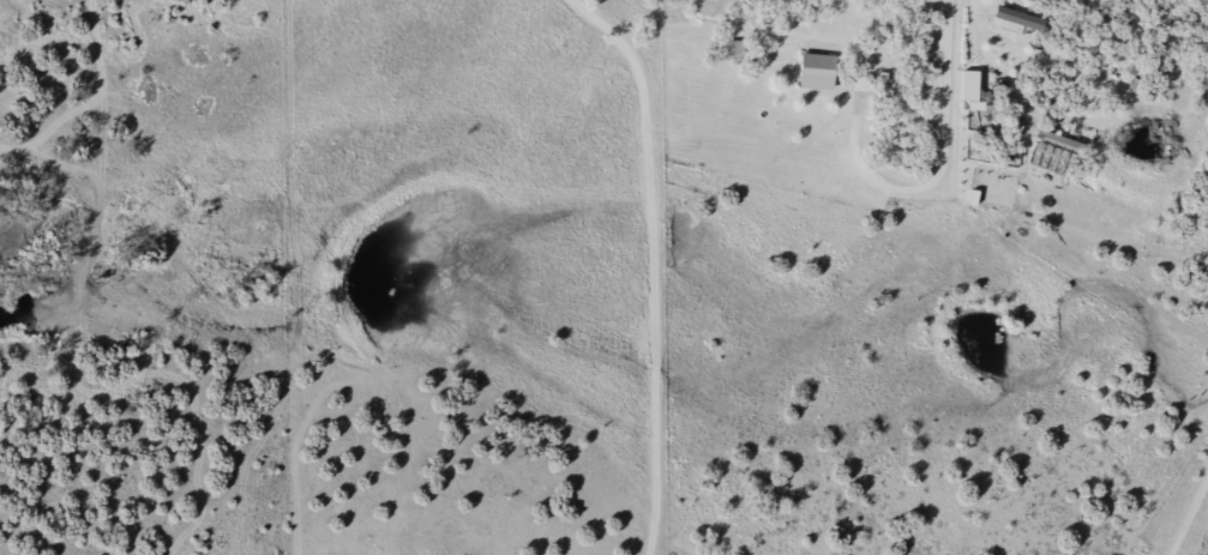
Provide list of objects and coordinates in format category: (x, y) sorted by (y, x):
building: (733, 48)
building: (816, 71)
road: (1182, 503)

